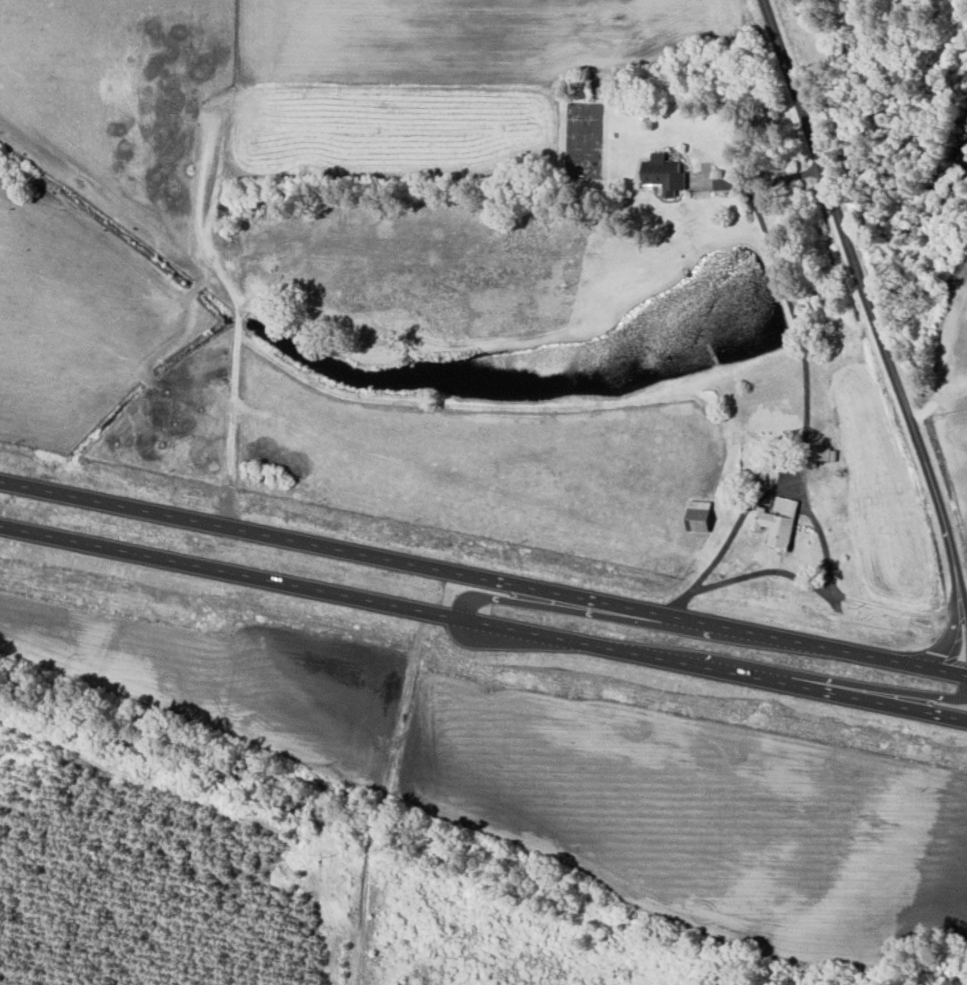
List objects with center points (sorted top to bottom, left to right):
building: (665, 174)
road: (755, 177)
road: (874, 319)
road: (807, 421)
building: (699, 517)
building: (778, 523)
road: (820, 536)
road: (483, 577)
road: (822, 590)
road: (483, 622)
road: (400, 700)
road: (963, 705)

